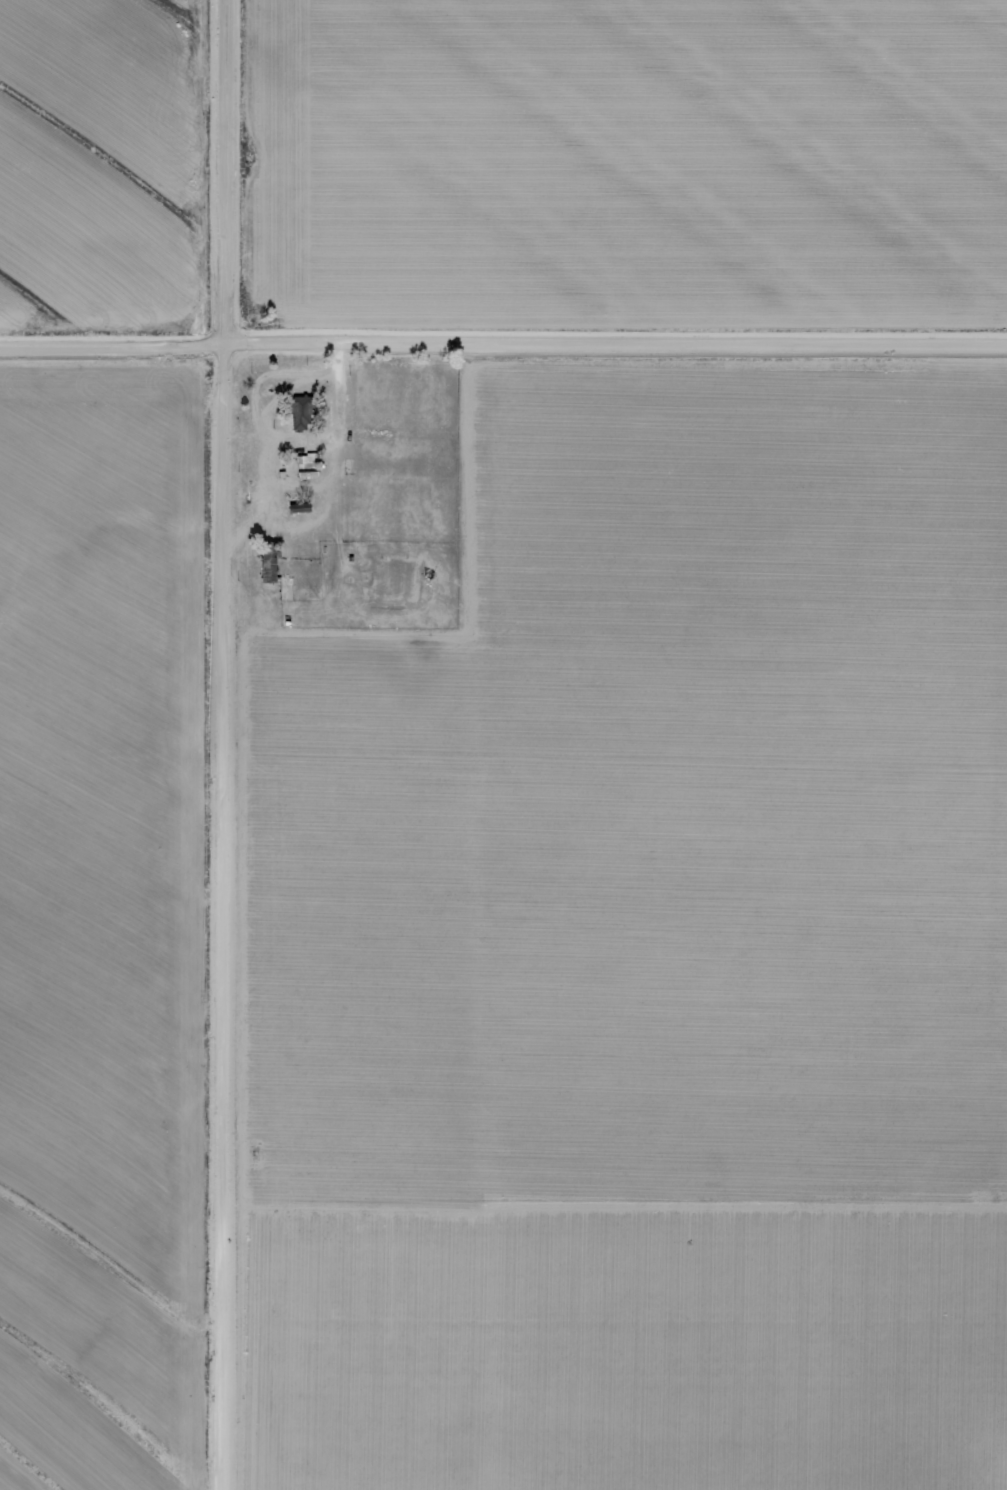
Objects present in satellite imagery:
road: (503, 345)
road: (228, 744)

